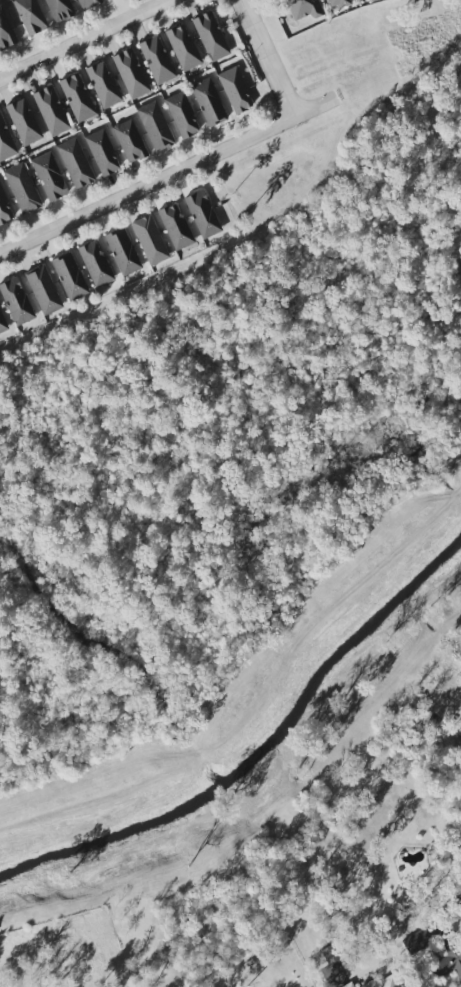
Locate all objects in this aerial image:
building: (88, 3)
building: (337, 3)
building: (303, 9)
building: (59, 10)
building: (30, 16)
building: (5, 31)
building: (210, 36)
road: (84, 38)
building: (183, 48)
road: (267, 58)
building: (156, 60)
building: (130, 74)
building: (103, 85)
building: (235, 91)
building: (77, 97)
building: (208, 102)
building: (51, 110)
building: (182, 115)
building: (23, 122)
building: (155, 125)
building: (129, 141)
building: (6, 142)
building: (102, 152)
building: (75, 163)
building: (49, 176)
road: (166, 176)
building: (22, 188)
building: (4, 209)
building: (202, 214)
building: (175, 227)
building: (149, 240)
building: (122, 251)
building: (95, 264)
building: (69, 276)
building: (43, 290)
building: (16, 301)
building: (2, 325)
river: (260, 753)
building: (415, 943)
building: (329, 954)
building: (449, 962)
building: (382, 983)
building: (348, 985)

